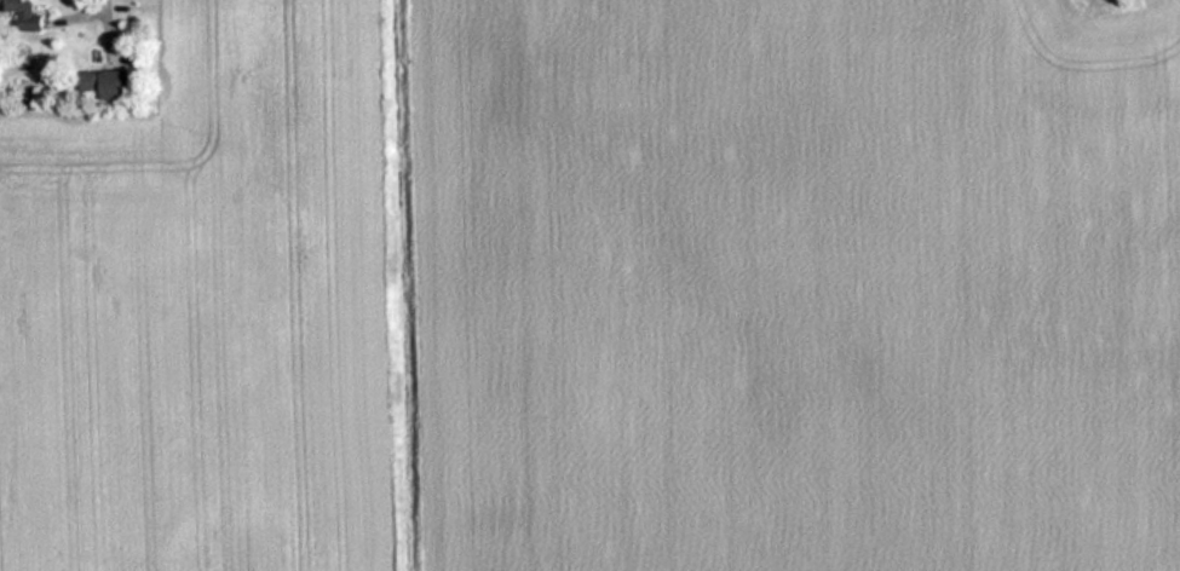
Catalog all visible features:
building: (24, 16)
building: (109, 86)

